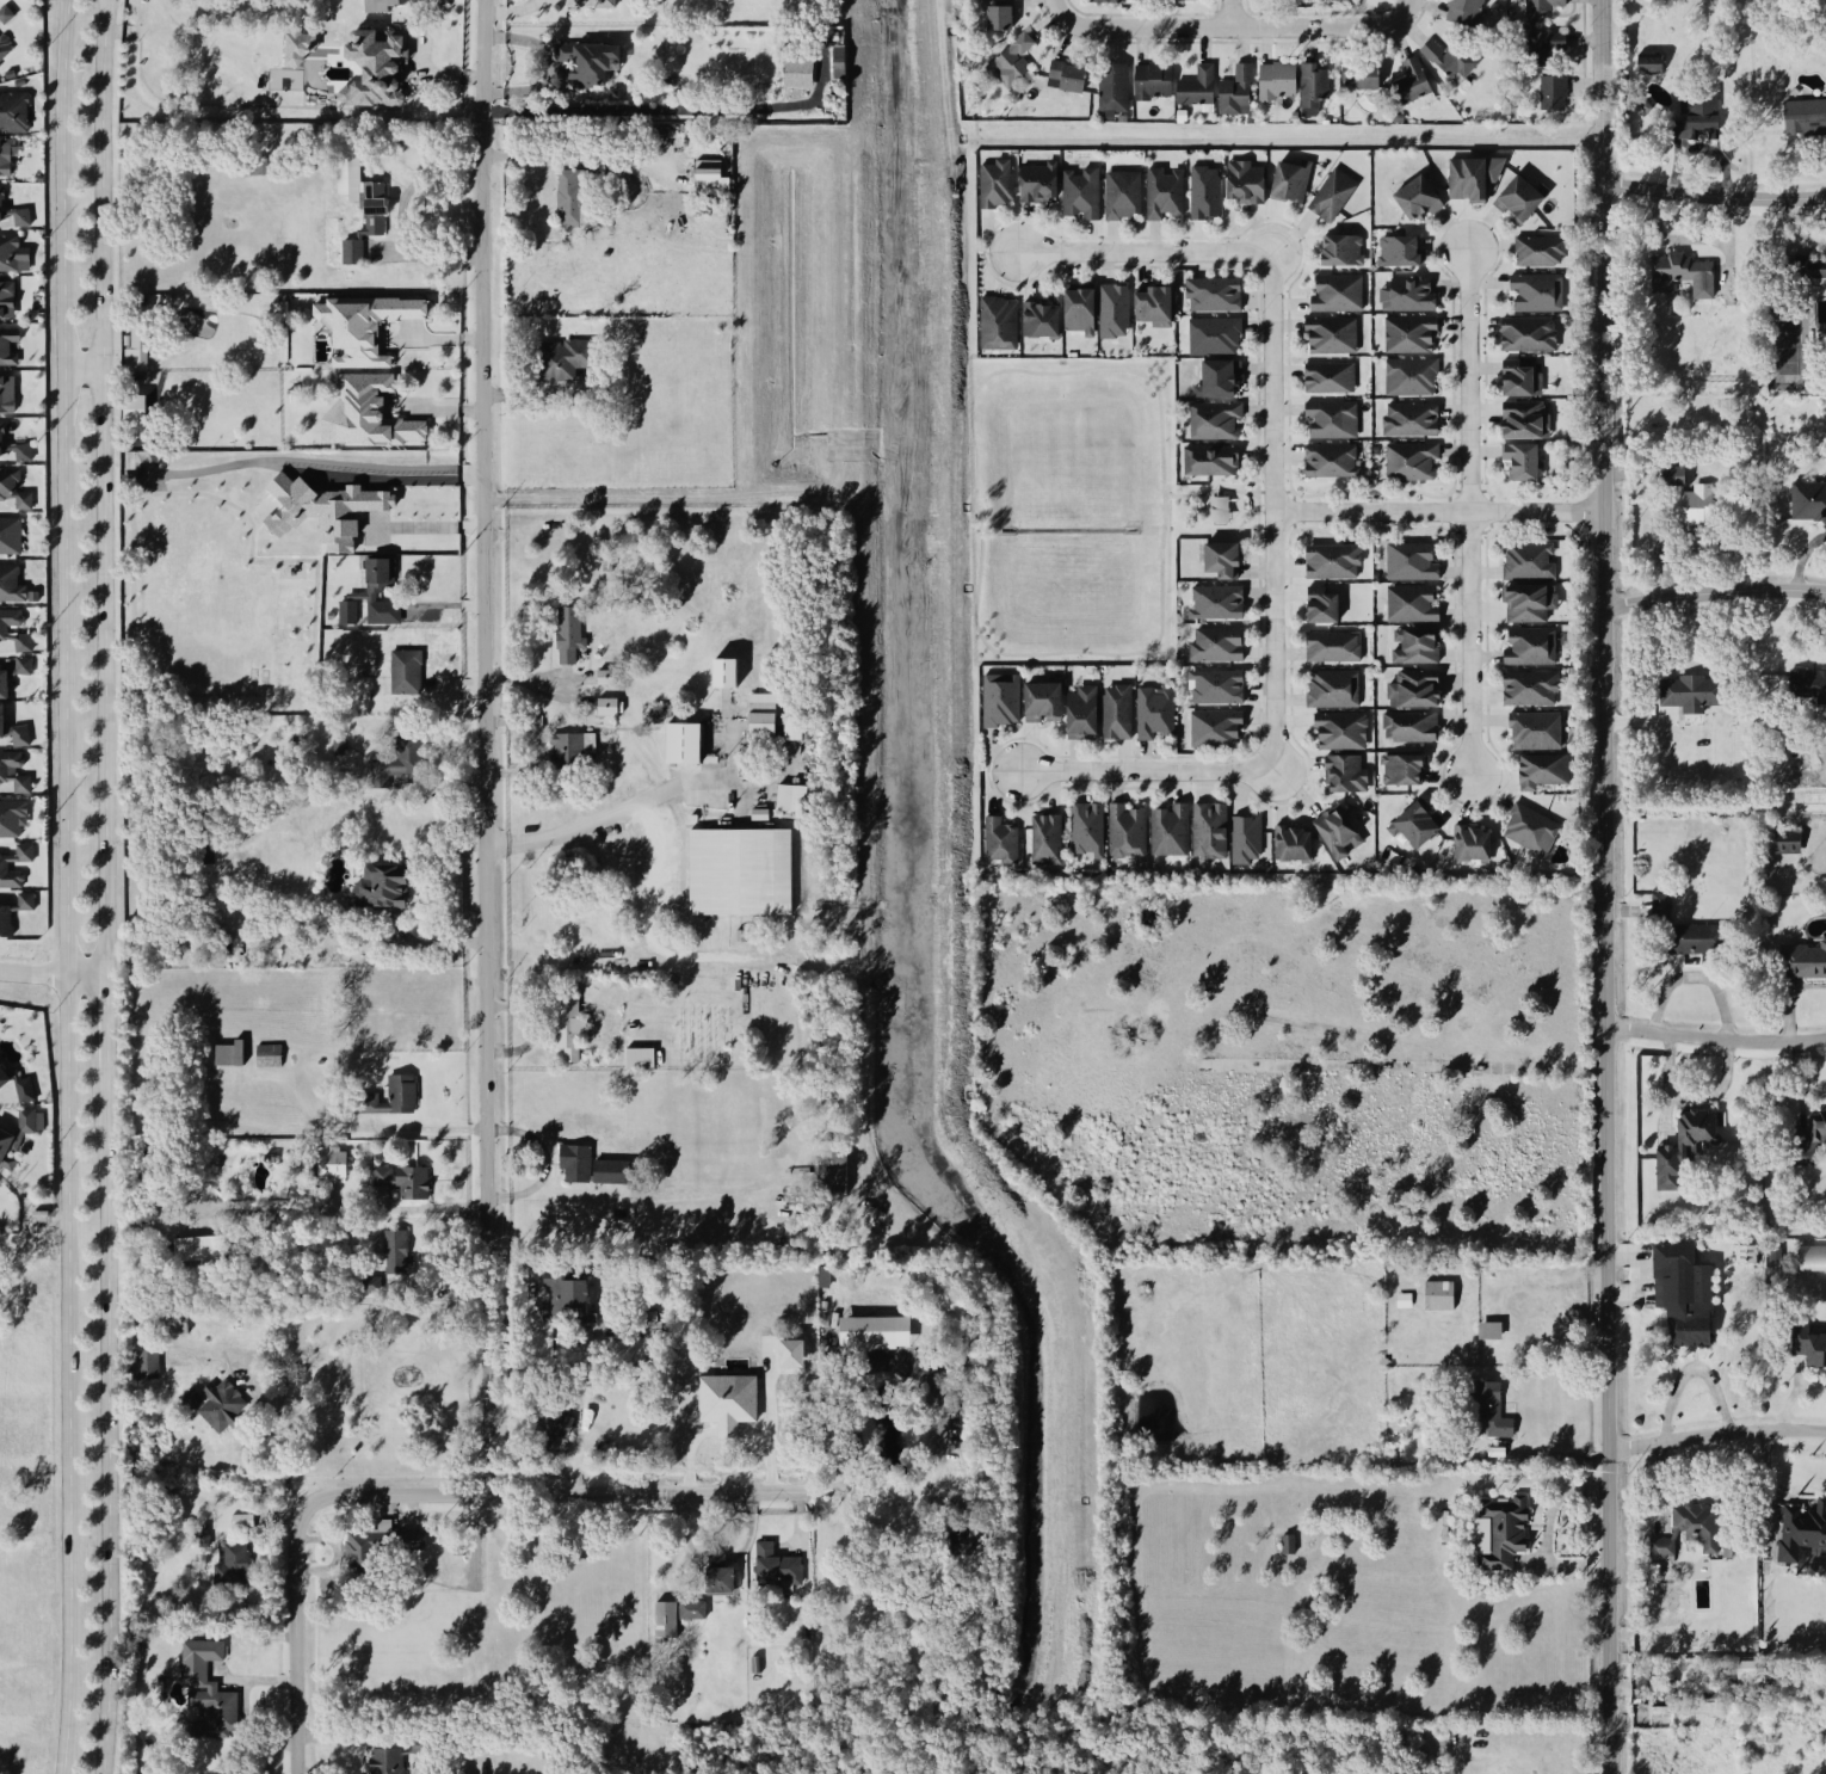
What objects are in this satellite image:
building: (1108, 0)
building: (1177, 0)
building: (573, 2)
building: (378, 4)
road: (1068, 4)
road: (1411, 4)
building: (603, 5)
building: (1460, 8)
building: (1532, 8)
road: (1238, 12)
building: (5, 13)
building: (998, 14)
road: (1239, 24)
building: (296, 43)
building: (1544, 45)
building: (2, 47)
building: (1640, 57)
building: (1011, 60)
building: (837, 61)
building: (1448, 61)
building: (585, 62)
road: (545, 64)
building: (372, 67)
building: (796, 72)
building: (1067, 76)
building: (1412, 79)
building: (1276, 80)
building: (1367, 80)
building: (1150, 81)
building: (1195, 86)
building: (1310, 86)
building: (1111, 90)
building: (1549, 93)
building: (1233, 94)
road: (659, 109)
building: (1688, 109)
building: (12, 110)
building: (1801, 113)
building: (4, 155)
building: (249, 166)
building: (708, 177)
building: (1466, 177)
building: (1289, 179)
building: (1037, 180)
building: (1242, 180)
building: (992, 183)
building: (1394, 185)
building: (1202, 190)
road: (1711, 190)
building: (1078, 191)
building: (1162, 191)
building: (1118, 193)
building: (1331, 193)
building: (568, 197)
building: (1417, 197)
building: (1518, 197)
building: (354, 204)
building: (14, 209)
building: (1340, 248)
building: (1537, 248)
road: (425, 251)
building: (1398, 251)
road: (1140, 252)
building: (12, 253)
building: (1803, 265)
building: (1679, 271)
building: (1335, 291)
building: (1534, 291)
building: (1213, 292)
building: (1406, 292)
building: (6, 297)
building: (1152, 304)
building: (1078, 309)
building: (1111, 309)
building: (1038, 319)
building: (997, 322)
building: (362, 324)
building: (1407, 332)
building: (1330, 333)
building: (1211, 334)
building: (1524, 334)
building: (6, 345)
building: (134, 345)
park: (1783, 345)
building: (562, 357)
road: (81, 365)
building: (1408, 374)
building: (1327, 375)
building: (1215, 377)
building: (1517, 378)
building: (6, 392)
road: (538, 393)
building: (365, 413)
building: (1409, 417)
building: (1211, 418)
building: (1330, 418)
building: (1523, 420)
building: (14, 444)
building: (1210, 458)
building: (1330, 458)
building: (1408, 458)
road: (1159, 460)
building: (1518, 461)
road: (1256, 474)
building: (12, 485)
road: (100, 486)
road: (1216, 489)
building: (1686, 495)
building: (1807, 499)
park: (1079, 507)
road: (1437, 507)
road: (1468, 507)
building: (323, 509)
building: (1217, 509)
road: (1272, 511)
road: (430, 526)
road: (1256, 526)
building: (8, 534)
building: (1221, 559)
building: (1331, 560)
building: (1409, 560)
building: (1526, 560)
building: (10, 584)
road: (1714, 592)
building: (369, 596)
building: (1526, 600)
building: (1214, 602)
building: (1408, 602)
building: (1320, 604)
building: (14, 629)
building: (566, 634)
building: (1215, 642)
building: (1414, 645)
building: (1528, 645)
building: (1331, 646)
building: (403, 671)
building: (13, 672)
building: (723, 672)
building: (603, 677)
building: (1215, 684)
building: (1332, 686)
building: (1528, 686)
building: (1802, 686)
building: (1413, 688)
building: (1688, 691)
building: (999, 697)
building: (1042, 702)
building: (606, 706)
building: (658, 709)
building: (1115, 709)
building: (1080, 713)
building: (1152, 713)
building: (761, 714)
building: (790, 723)
building: (1408, 725)
building: (1214, 727)
building: (1339, 728)
building: (1534, 728)
building: (13, 731)
building: (683, 743)
building: (566, 750)
building: (397, 758)
building: (11, 768)
building: (1400, 768)
building: (1540, 770)
road: (1145, 771)
building: (1343, 771)
building: (789, 796)
road: (613, 808)
building: (12, 814)
building: (1413, 824)
building: (1086, 827)
building: (1528, 827)
building: (1125, 830)
building: (1167, 830)
building: (1208, 830)
building: (1335, 831)
building: (1242, 838)
building: (998, 839)
building: (1044, 839)
building: (1785, 840)
building: (1469, 842)
building: (1290, 843)
building: (201, 846)
building: (2, 864)
building: (739, 870)
road: (427, 871)
road: (64, 886)
building: (383, 886)
road: (1603, 886)
building: (1641, 905)
building: (13, 907)
building: (1701, 938)
road: (438, 943)
road: (27, 956)
building: (1805, 959)
road: (47, 971)
road: (492, 971)
road: (51, 973)
road: (47, 988)
building: (567, 1024)
road: (103, 1031)
road: (1714, 1037)
building: (227, 1052)
building: (266, 1054)
building: (637, 1057)
building: (16, 1083)
building: (387, 1095)
road: (425, 1129)
building: (14, 1134)
building: (1806, 1139)
road: (539, 1145)
building: (1683, 1145)
building: (328, 1160)
building: (573, 1162)
building: (831, 1166)
building: (609, 1170)
building: (402, 1178)
road: (554, 1196)
road: (436, 1208)
road: (45, 1219)
building: (197, 1246)
building: (395, 1252)
building: (1744, 1252)
building: (1772, 1252)
building: (1812, 1256)
building: (368, 1282)
building: (1682, 1292)
building: (1437, 1293)
building: (563, 1294)
building: (1402, 1299)
building: (169, 1320)
building: (1488, 1329)
building: (874, 1331)
building: (797, 1344)
building: (1808, 1344)
building: (142, 1363)
road: (1791, 1393)
road: (271, 1396)
building: (218, 1403)
building: (712, 1406)
building: (1488, 1409)
building: (551, 1411)
road: (104, 1431)
road: (1715, 1431)
road: (755, 1490)
building: (241, 1519)
building: (1696, 1523)
building: (186, 1526)
road: (683, 1528)
building: (1801, 1528)
road: (748, 1529)
building: (1500, 1529)
building: (201, 1539)
building: (962, 1540)
building: (1287, 1542)
building: (377, 1545)
building: (1659, 1545)
road: (715, 1559)
building: (229, 1563)
building: (773, 1563)
building: (718, 1575)
building: (690, 1608)
building: (664, 1619)
building: (206, 1690)
building: (383, 1760)

